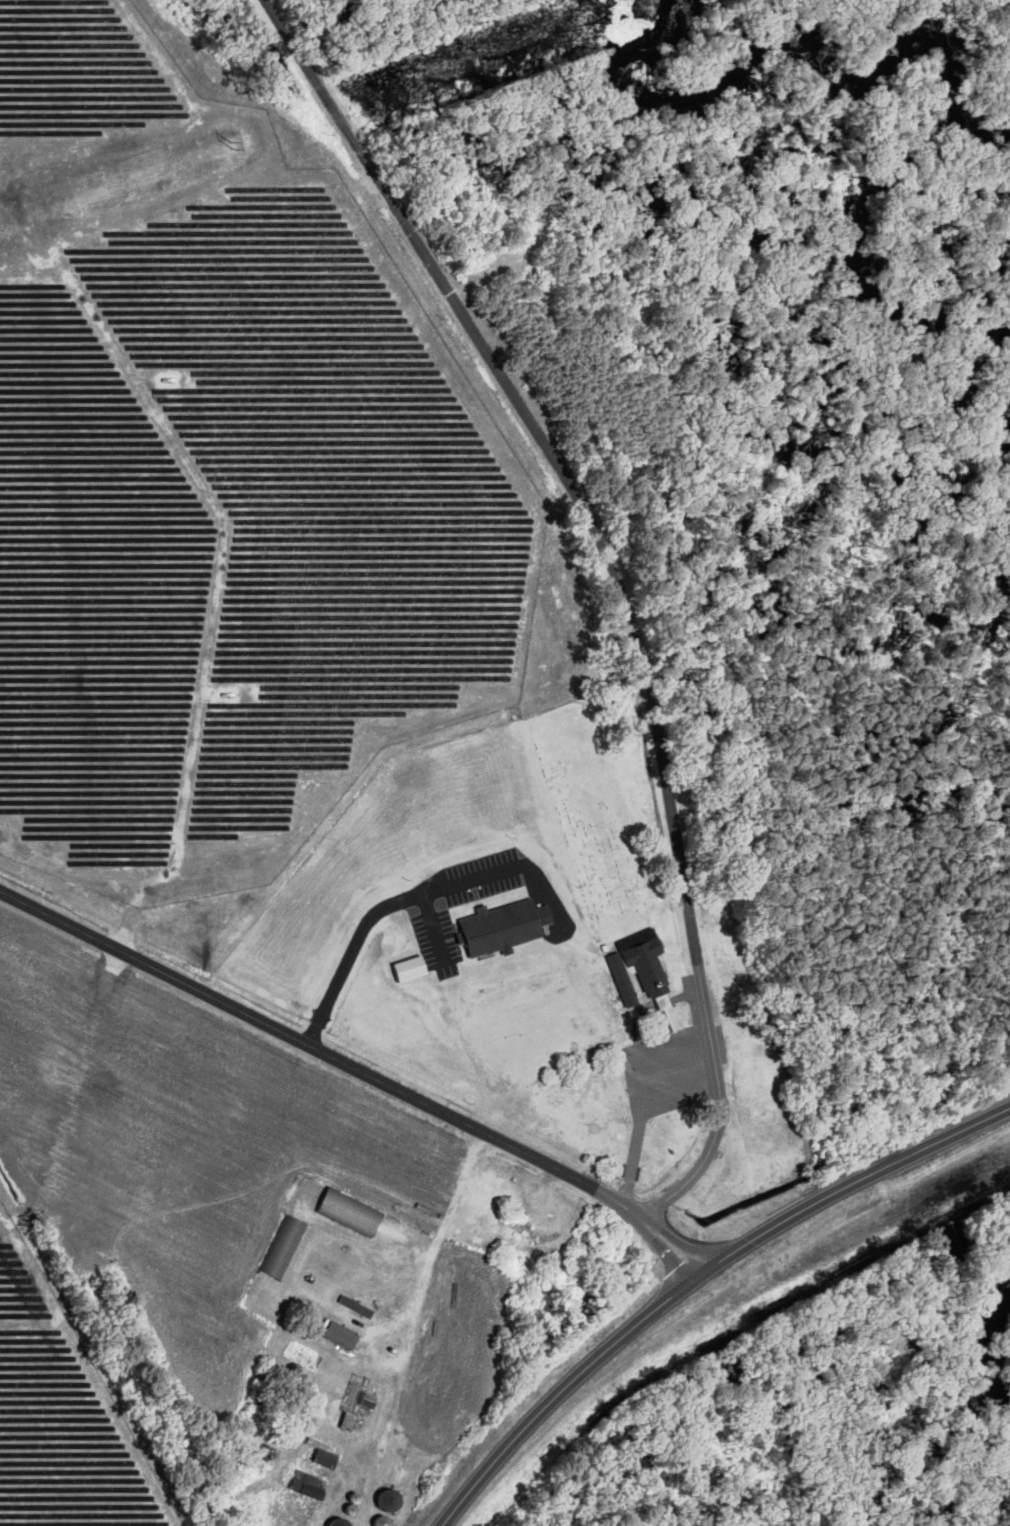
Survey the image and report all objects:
river: (815, 55)
power tower: (233, 144)
river: (838, 235)
solar farm: (219, 481)
road: (618, 581)
building: (511, 928)
building: (652, 967)
road: (359, 1070)
building: (759, 1078)
building: (354, 1214)
building: (539, 1233)
building: (286, 1247)
road: (697, 1278)
building: (361, 1309)
building: (344, 1337)
river: (996, 1343)
building: (365, 1395)
solar farm: (61, 1417)
building: (363, 1427)
building: (330, 1459)
building: (318, 1487)
building: (394, 1501)
building: (385, 1521)

